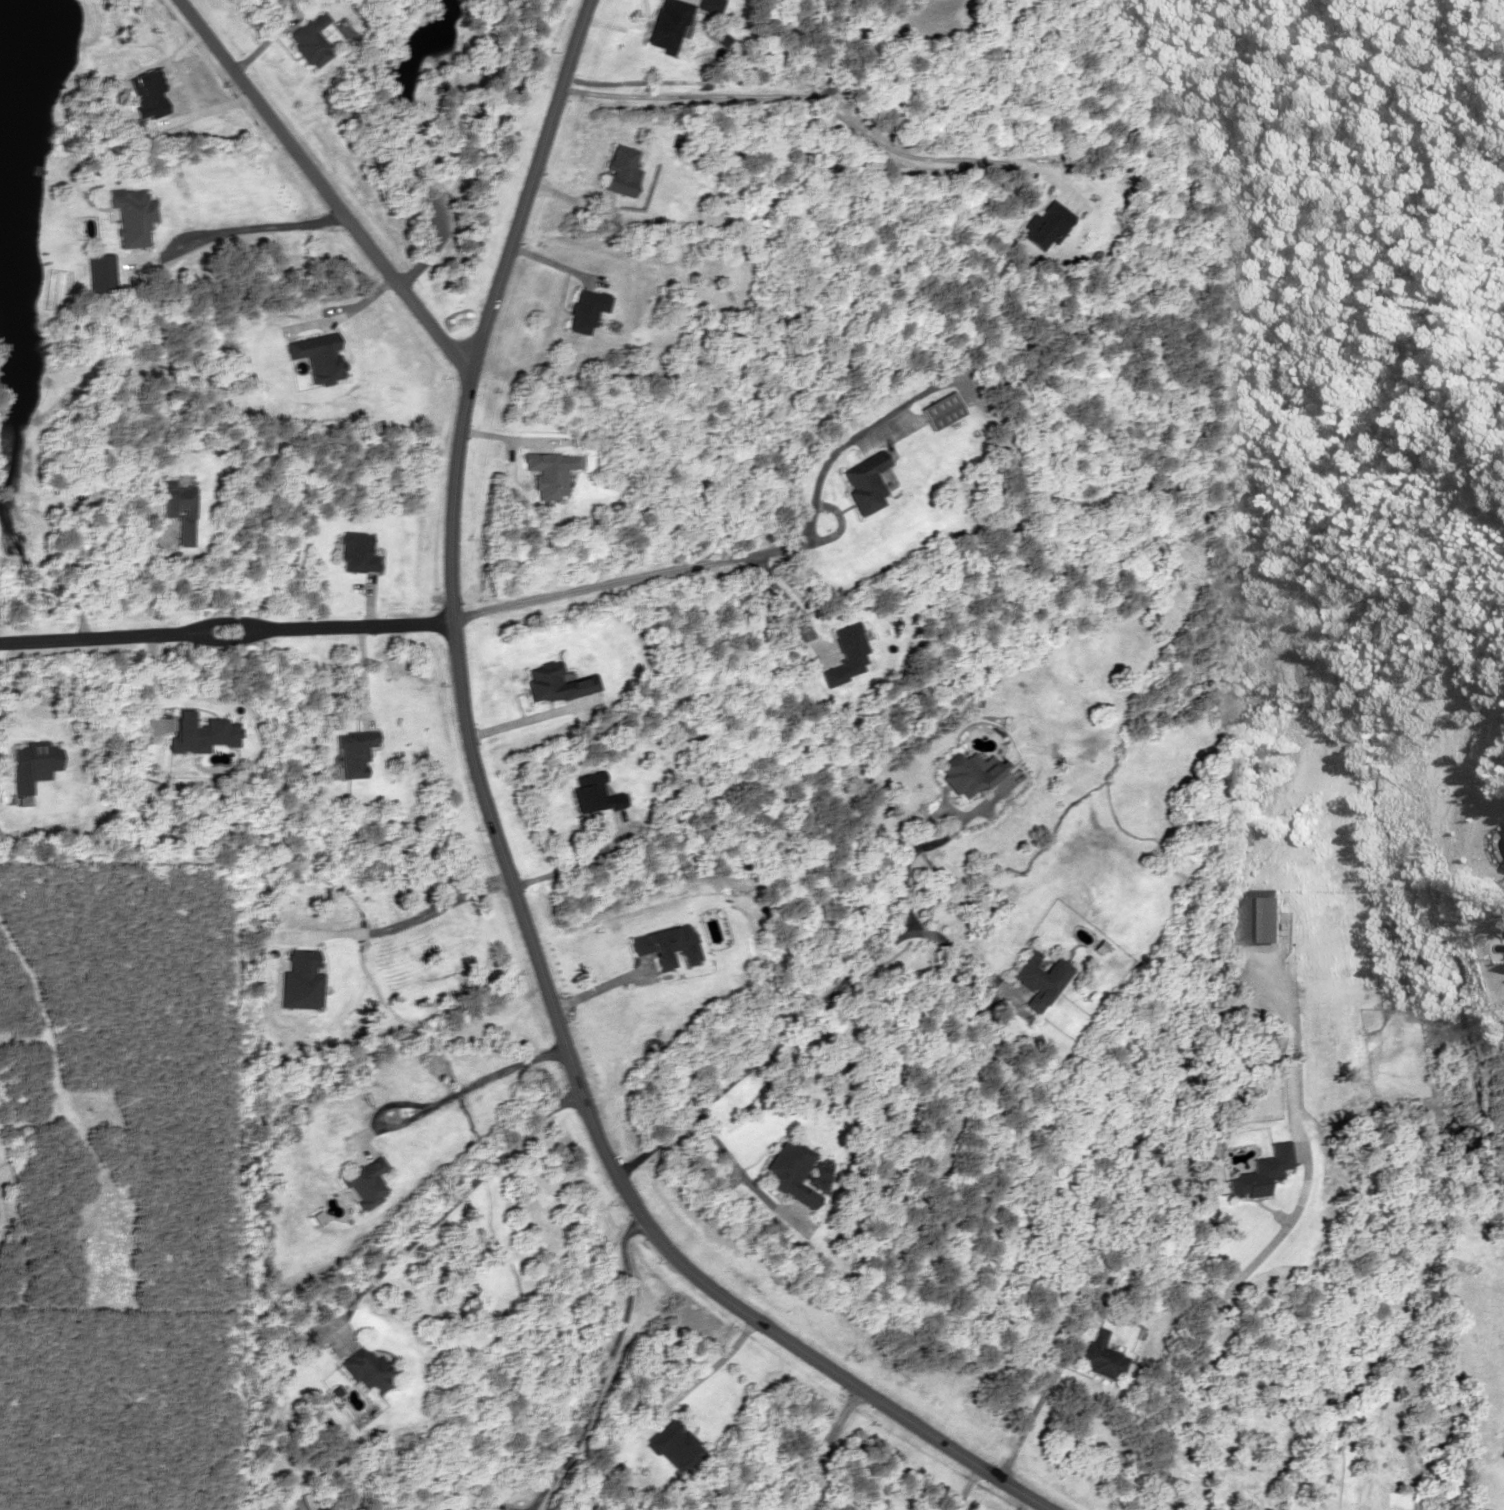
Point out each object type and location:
building: (708, 5)
building: (669, 24)
building: (309, 39)
road: (813, 98)
building: (620, 170)
road: (320, 185)
building: (130, 216)
building: (584, 309)
building: (317, 357)
building: (941, 411)
building: (549, 471)
building: (863, 481)
building: (177, 508)
building: (356, 552)
road: (716, 561)
road: (225, 622)
building: (552, 683)
building: (200, 733)
building: (352, 753)
building: (967, 775)
building: (590, 794)
road: (502, 861)
building: (666, 945)
building: (1038, 979)
road: (764, 1051)
building: (788, 1172)
building: (363, 1183)
road: (452, 1207)
building: (1101, 1357)
building: (367, 1371)
building: (674, 1444)
road: (829, 1449)
building: (297, 1503)
road: (798, 1505)

